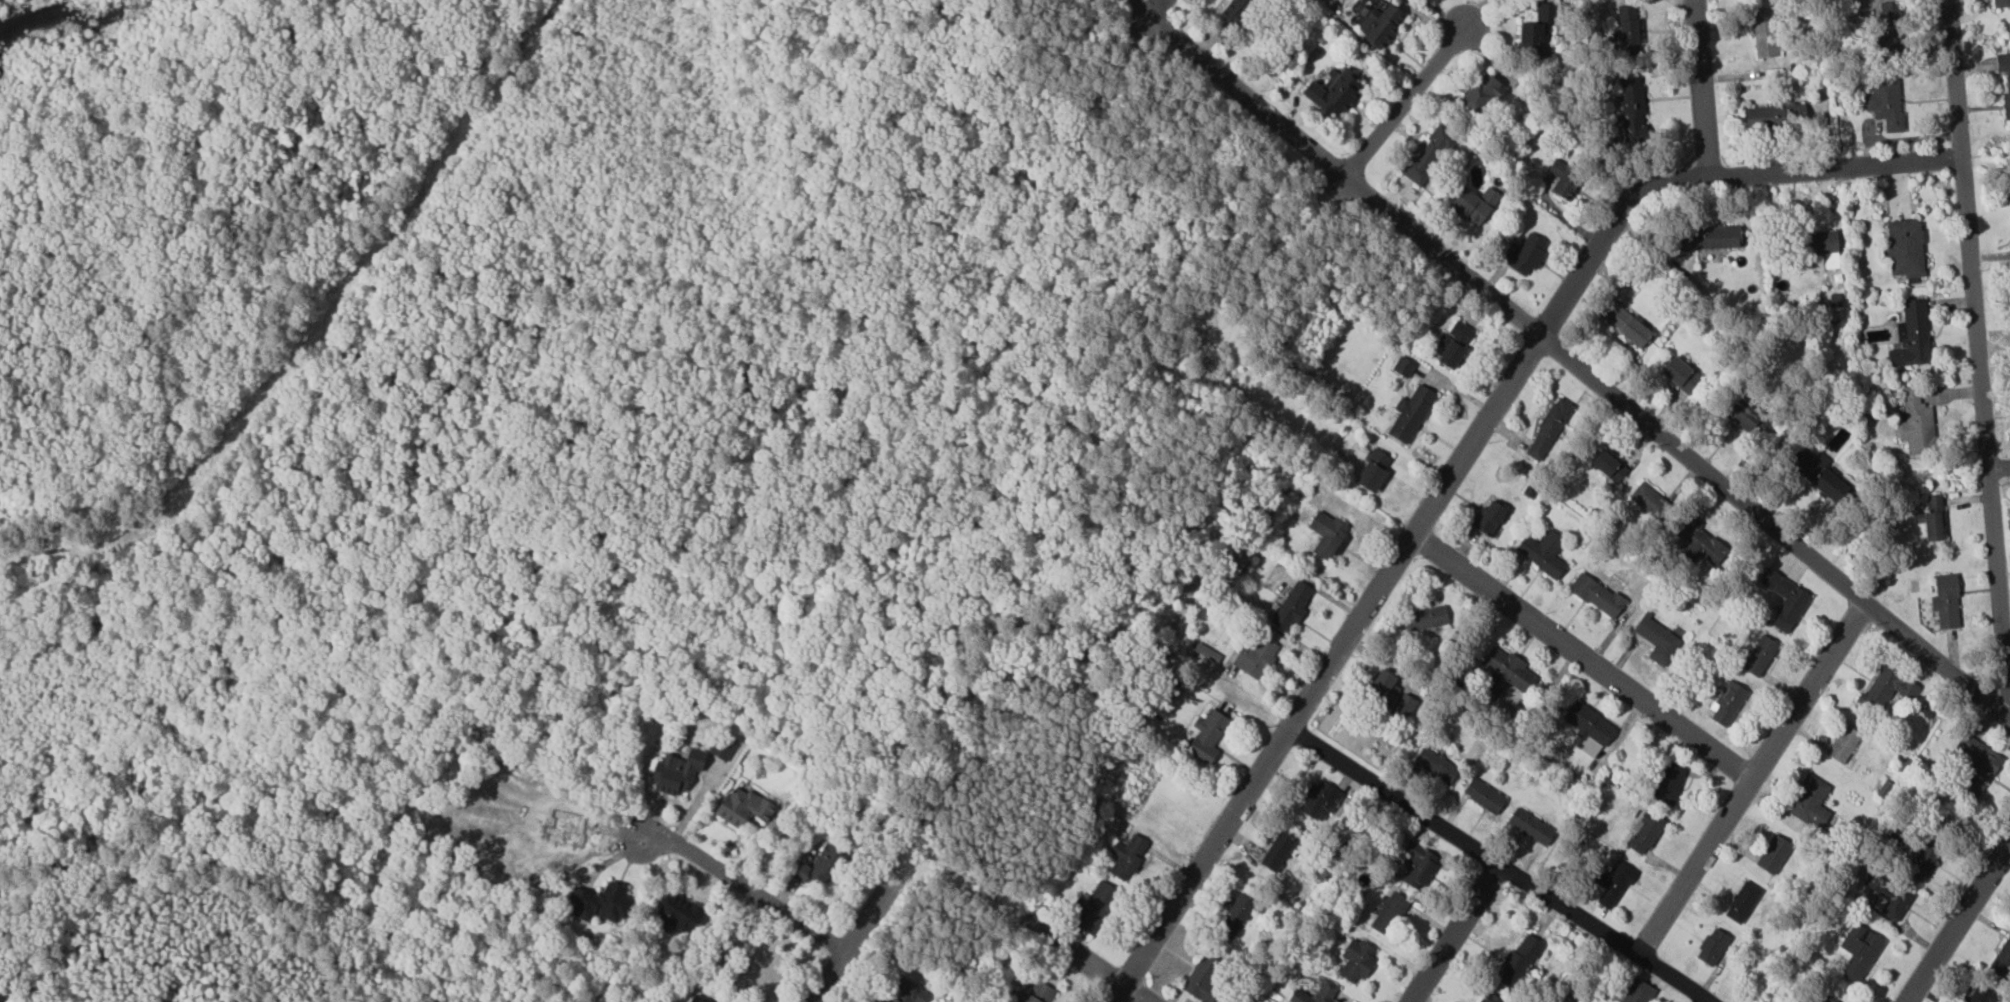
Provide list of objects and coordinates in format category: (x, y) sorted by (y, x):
building: (2001, 3)
road: (1152, 8)
building: (1545, 13)
building: (1887, 17)
building: (1379, 25)
building: (1626, 29)
building: (1763, 33)
building: (1532, 41)
building: (2008, 82)
road: (1701, 89)
building: (1332, 92)
building: (1481, 95)
road: (1408, 97)
building: (1885, 103)
building: (1630, 109)
building: (1774, 117)
building: (1428, 155)
road: (1835, 168)
building: (1563, 180)
building: (2009, 185)
building: (1472, 206)
building: (1710, 239)
building: (1820, 247)
building: (1904, 249)
building: (1524, 254)
building: (1624, 324)
building: (1459, 334)
building: (1911, 336)
building: (1449, 352)
road: (1568, 358)
road: (1980, 358)
building: (1402, 367)
building: (1680, 375)
building: (1410, 414)
building: (1744, 417)
building: (1916, 423)
building: (1548, 429)
building: (1607, 466)
road: (2000, 468)
building: (1372, 471)
building: (1818, 475)
building: (1649, 501)
building: (1488, 519)
building: (1932, 519)
building: (1329, 537)
building: (1700, 544)
building: (1542, 553)
road: (1394, 565)
building: (1596, 596)
building: (1784, 600)
building: (1945, 601)
building: (1291, 606)
building: (1423, 619)
building: (1657, 640)
building: (1206, 653)
road: (1583, 656)
building: (1759, 656)
building: (1254, 657)
building: (1504, 675)
building: (1886, 690)
building: (1389, 696)
building: (1727, 704)
building: (1588, 729)
building: (1206, 737)
building: (1843, 745)
building: (722, 748)
building: (1435, 765)
building: (1977, 767)
building: (675, 770)
road: (1751, 777)
building: (1668, 783)
building: (1483, 796)
building: (1319, 800)
building: (1810, 800)
building: (743, 805)
building: (1530, 826)
building: (1645, 832)
building: (1276, 851)
building: (1773, 853)
building: (1126, 856)
building: (1923, 861)
road: (1500, 862)
building: (1417, 864)
building: (818, 865)
building: (1611, 882)
road: (740, 884)
building: (1889, 895)
building: (1742, 901)
building: (600, 903)
building: (1093, 906)
building: (1389, 913)
building: (676, 914)
building: (1235, 915)
road: (1958, 923)
road: (857, 931)
road: (1459, 934)
building: (1712, 946)
building: (1859, 951)
building: (2003, 958)
building: (1356, 959)
building: (1517, 962)
building: (1202, 978)
building: (1637, 991)
building: (904, 992)
building: (1037, 992)
building: (1314, 993)
road: (1133, 994)
building: (1981, 994)
building: (1490, 998)
building: (695, 999)
building: (1827, 999)

